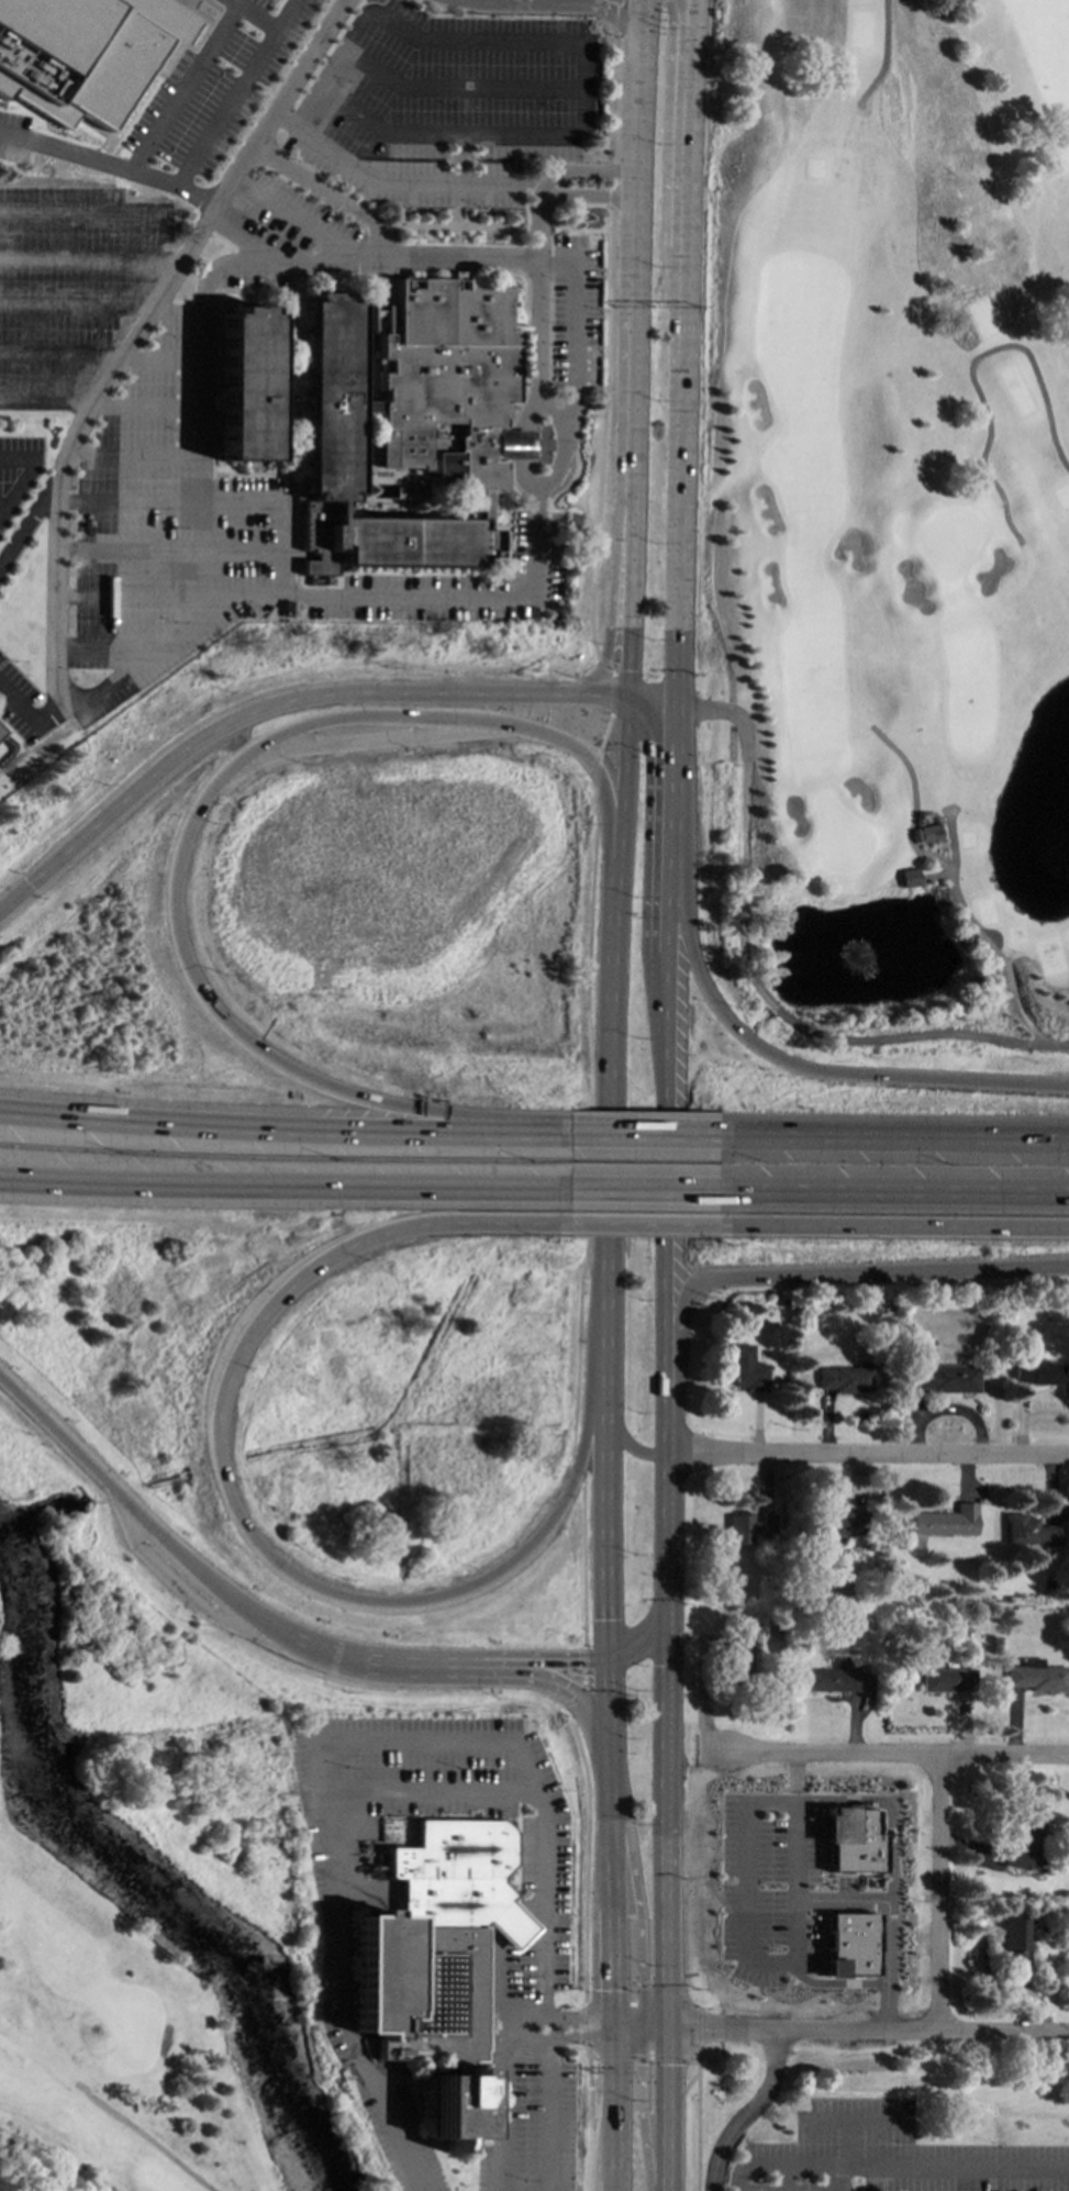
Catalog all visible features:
road: (563, 4)
traffic signals: (617, 14)
road: (255, 15)
road: (642, 19)
road: (623, 20)
road: (536, 42)
road: (887, 51)
building: (83, 53)
road: (187, 89)
road: (459, 89)
parking lot: (208, 96)
road: (238, 96)
road: (620, 101)
road: (278, 105)
road: (382, 131)
parking lot: (13, 136)
road: (636, 158)
road: (671, 164)
road: (691, 164)
road: (109, 168)
road: (396, 179)
road: (614, 183)
road: (383, 243)
road: (324, 255)
road: (548, 260)
road: (89, 262)
parking lot: (68, 283)
building: (380, 298)
road: (538, 332)
road: (630, 358)
building: (445, 380)
road: (972, 381)
building: (243, 383)
building: (327, 398)
building: (366, 408)
road: (519, 433)
road: (601, 433)
road: (201, 447)
road: (557, 458)
road: (678, 515)
park: (891, 515)
road: (30, 519)
road: (202, 563)
road: (632, 567)
road: (614, 574)
road: (605, 665)
road: (613, 691)
road: (87, 696)
road: (600, 697)
traffic signals: (628, 698)
road: (652, 700)
traffic signals: (676, 703)
road: (271, 709)
road: (25, 714)
road: (605, 729)
road: (231, 744)
road: (592, 761)
road: (675, 768)
road: (624, 778)
building: (926, 833)
road: (186, 835)
road: (953, 860)
road: (948, 874)
building: (906, 877)
traffic signals: (30, 885)
road: (672, 892)
road: (14, 898)
road: (756, 985)
road: (670, 989)
road: (792, 1066)
road: (610, 1070)
road: (590, 1121)
road: (100, 1123)
road: (381, 1133)
road: (638, 1137)
road: (892, 1139)
road: (665, 1186)
road: (279, 1188)
road: (638, 1190)
road: (892, 1192)
road: (639, 1222)
road: (893, 1224)
road: (375, 1232)
road: (883, 1270)
road: (681, 1311)
building: (746, 1369)
building: (1042, 1373)
building: (845, 1378)
building: (943, 1378)
road: (631, 1448)
road: (867, 1454)
road: (606, 1469)
road: (576, 1473)
road: (667, 1480)
building: (945, 1521)
building: (844, 1523)
building: (740, 1528)
road: (152, 1531)
building: (1028, 1531)
road: (582, 1566)
road: (425, 1604)
traffic signals: (668, 1617)
road: (639, 1643)
building: (739, 1651)
traffic signals: (606, 1659)
road: (564, 1662)
road: (423, 1664)
building: (1036, 1676)
building: (834, 1679)
building: (948, 1679)
road: (583, 1683)
road: (582, 1698)
road: (897, 1755)
road: (322, 1788)
road: (772, 1802)
road: (891, 1806)
road: (666, 1826)
building: (851, 1839)
building: (1021, 1844)
road: (606, 1845)
road: (798, 1851)
road: (586, 1860)
road: (938, 1894)
park: (142, 1899)
road: (638, 1902)
road: (798, 1921)
building: (510, 1926)
road: (545, 1933)
building: (1011, 1943)
building: (848, 1944)
building: (435, 1954)
road: (498, 1988)
road: (555, 2016)
road: (584, 2025)
road: (698, 2027)
traffic signals: (608, 2032)
road: (867, 2033)
road: (636, 2034)
road: (554, 2035)
traffic signals: (665, 2036)
road: (642, 2057)
road: (680, 2091)
road: (639, 2102)
road: (500, 2103)
road: (608, 2106)
road: (662, 2113)
road: (748, 2114)
road: (589, 2117)
road: (697, 2120)
road: (147, 2137)
road: (47, 2162)
road: (893, 2165)
road: (835, 2177)
road: (608, 2186)

